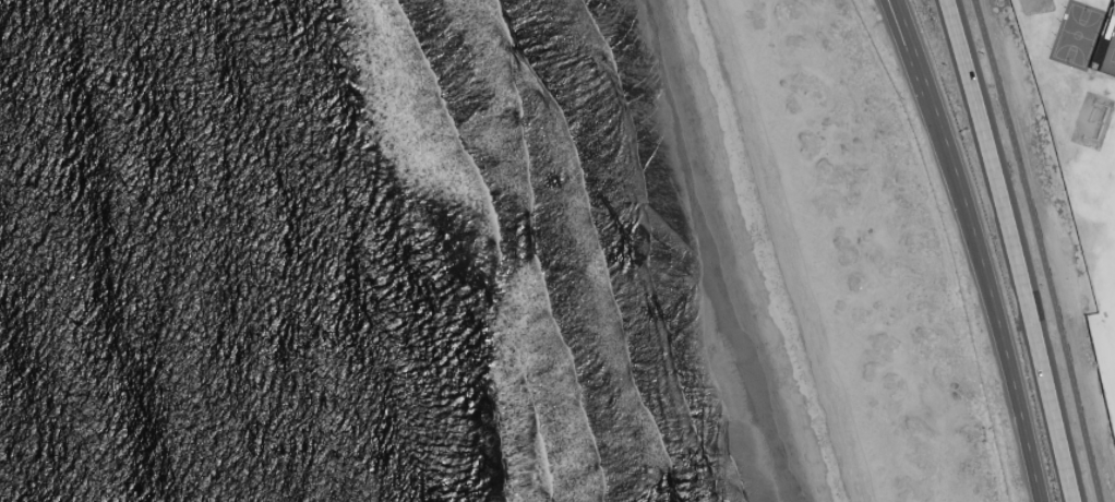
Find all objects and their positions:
road: (903, 35)
road: (908, 35)
park: (1108, 56)
road: (924, 81)
park: (1080, 141)
road: (1044, 249)
road: (1015, 250)
road: (981, 296)

